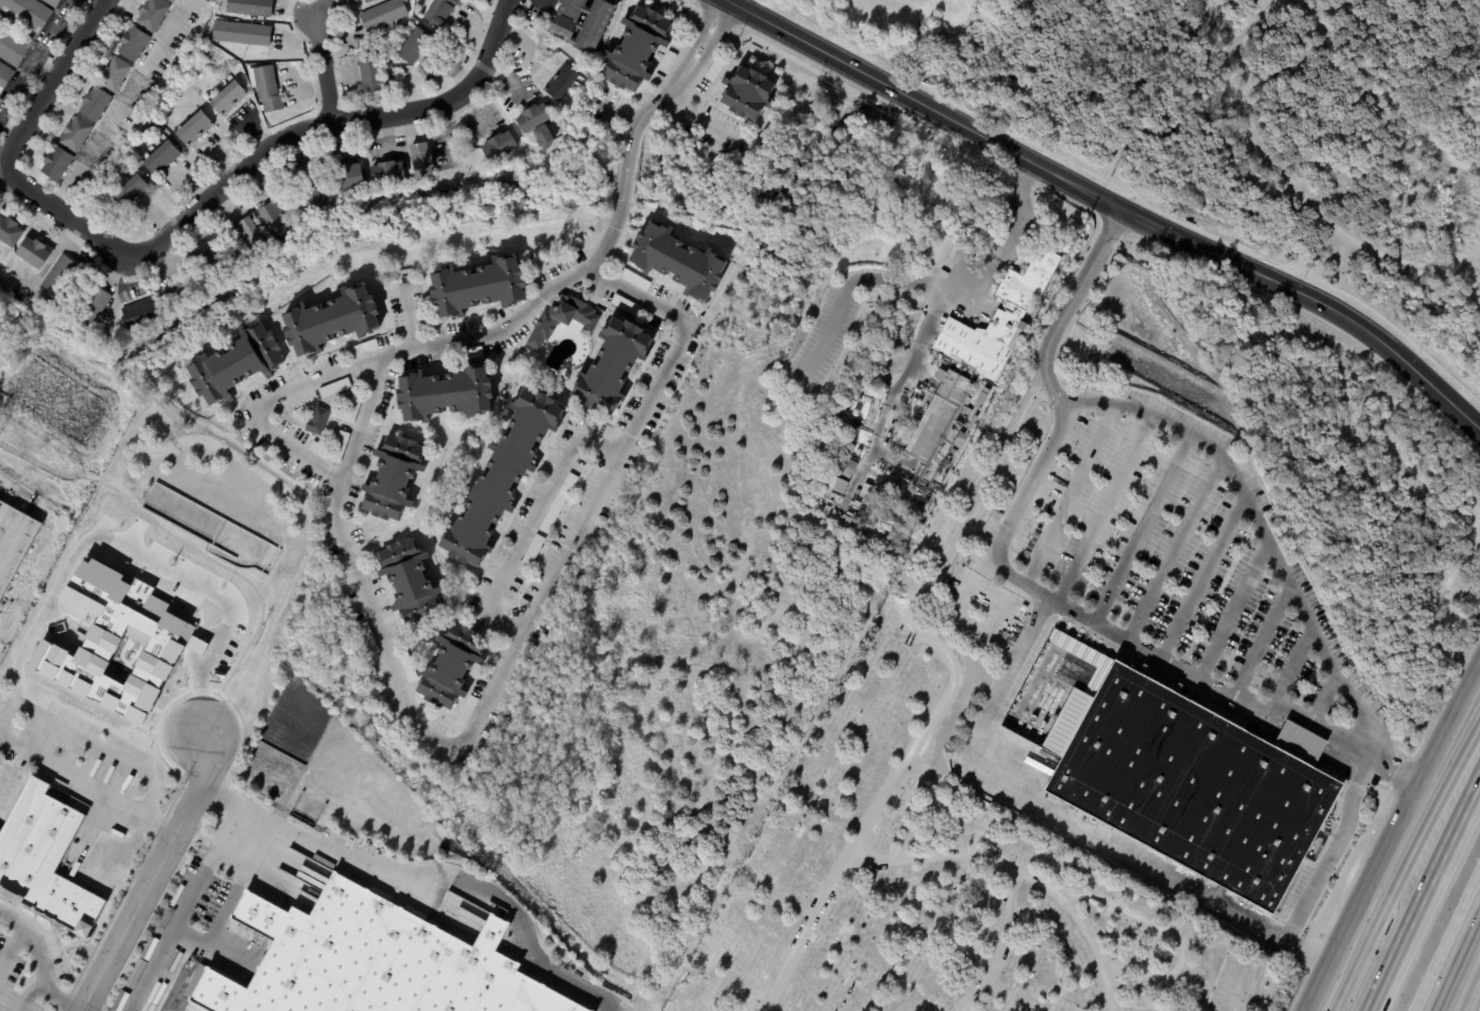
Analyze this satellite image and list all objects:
building: (171, 1)
building: (369, 1)
building: (51, 3)
building: (250, 8)
building: (440, 11)
building: (27, 13)
building: (152, 14)
building: (384, 15)
building: (577, 27)
building: (241, 34)
building: (133, 44)
building: (413, 47)
building: (11, 48)
building: (636, 49)
building: (667, 62)
road: (41, 66)
road: (326, 70)
building: (714, 71)
building: (114, 73)
building: (4, 75)
building: (373, 77)
road: (51, 80)
building: (164, 80)
building: (561, 83)
building: (267, 89)
building: (749, 94)
building: (228, 98)
building: (95, 104)
road: (124, 105)
road: (927, 105)
building: (533, 118)
road: (696, 121)
building: (193, 129)
building: (75, 134)
building: (498, 147)
building: (160, 158)
building: (421, 160)
road: (257, 161)
building: (55, 164)
building: (386, 173)
building: (347, 179)
building: (96, 186)
road: (1293, 189)
building: (315, 190)
building: (130, 193)
building: (101, 204)
building: (275, 221)
road: (1146, 222)
building: (9, 232)
building: (249, 237)
road: (608, 237)
building: (937, 248)
building: (32, 254)
building: (679, 263)
building: (213, 267)
building: (634, 280)
building: (65, 282)
road: (1283, 288)
building: (478, 289)
building: (180, 292)
building: (626, 306)
building: (90, 307)
building: (140, 313)
road: (932, 317)
road: (411, 318)
building: (330, 322)
building: (564, 322)
building: (455, 330)
building: (362, 350)
building: (980, 352)
building: (471, 354)
building: (898, 354)
building: (235, 366)
building: (612, 369)
building: (913, 376)
road: (1431, 386)
building: (334, 389)
building: (444, 395)
building: (982, 398)
building: (904, 407)
building: (353, 408)
building: (967, 411)
building: (316, 423)
road: (1476, 426)
building: (968, 429)
road: (284, 444)
building: (340, 448)
building: (318, 452)
road: (890, 459)
building: (850, 470)
road: (73, 474)
building: (394, 479)
building: (501, 481)
building: (836, 486)
building: (865, 492)
building: (858, 493)
building: (25, 494)
road: (1071, 496)
building: (915, 501)
building: (559, 504)
road: (1101, 506)
road: (532, 521)
road: (1143, 526)
road: (1260, 527)
building: (14, 544)
road: (1175, 545)
road: (142, 550)
building: (533, 551)
parking lot: (1168, 558)
road: (1204, 570)
building: (410, 582)
road: (1030, 585)
road: (1236, 607)
road: (962, 619)
road: (527, 624)
road: (1262, 638)
building: (368, 639)
building: (1068, 645)
building: (407, 668)
building: (451, 668)
road: (1292, 669)
road: (951, 684)
road: (1323, 700)
building: (466, 713)
road: (88, 743)
parking lot: (78, 751)
building: (1187, 782)
road: (87, 786)
road: (1392, 834)
road: (1137, 858)
building: (44, 862)
road: (1403, 867)
road: (272, 868)
road: (1020, 871)
park: (943, 874)
road: (153, 875)
road: (425, 875)
road: (1424, 895)
road: (229, 900)
road: (427, 901)
road: (184, 910)
road: (1173, 936)
road: (999, 943)
road: (12, 947)
road: (221, 954)
road: (1453, 956)
building: (363, 958)
road: (37, 960)
parking lot: (30, 966)
road: (1471, 992)
road: (29, 995)
parking lot: (611, 1003)

